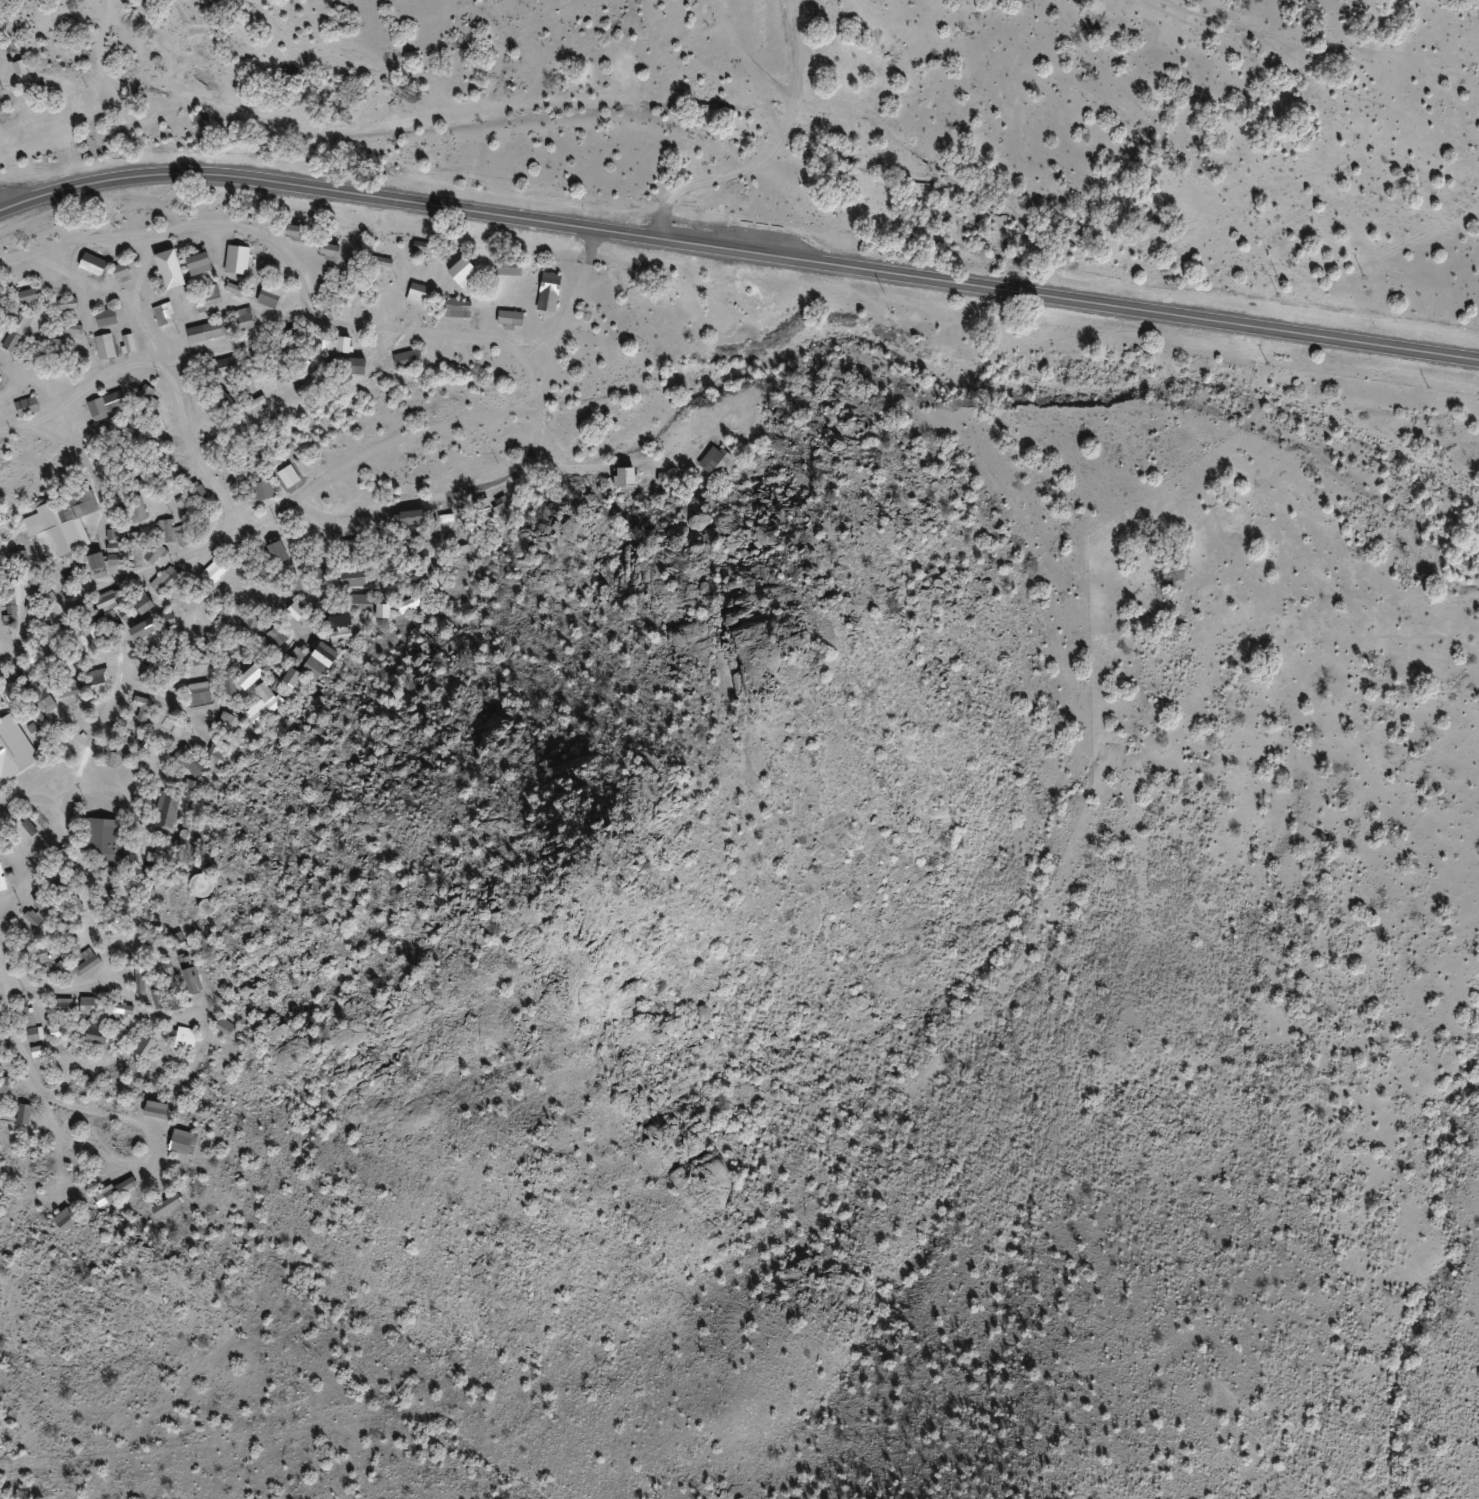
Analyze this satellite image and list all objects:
building: (20, 66)
road: (737, 122)
building: (297, 232)
road: (739, 247)
building: (422, 248)
building: (328, 250)
building: (237, 259)
building: (380, 262)
building: (198, 263)
building: (507, 266)
building: (169, 269)
building: (462, 271)
building: (121, 272)
building: (549, 283)
building: (235, 289)
building: (1, 290)
building: (28, 295)
building: (268, 296)
road: (251, 297)
building: (209, 303)
building: (67, 304)
building: (457, 308)
building: (164, 314)
building: (105, 317)
building: (509, 317)
building: (244, 318)
building: (72, 329)
building: (213, 329)
building: (16, 332)
building: (293, 335)
building: (128, 343)
building: (50, 344)
building: (342, 344)
building: (105, 346)
building: (406, 359)
building: (352, 365)
building: (226, 366)
building: (309, 384)
building: (146, 393)
building: (220, 399)
building: (107, 404)
building: (27, 406)
building: (255, 406)
road: (190, 416)
building: (713, 459)
road: (318, 467)
building: (620, 477)
building: (141, 483)
building: (263, 490)
building: (184, 504)
building: (138, 509)
building: (410, 518)
building: (63, 520)
building: (278, 552)
building: (154, 553)
building: (96, 561)
building: (266, 573)
building: (352, 577)
building: (164, 579)
building: (295, 584)
building: (106, 601)
building: (359, 601)
building: (296, 611)
building: (223, 614)
building: (10, 616)
building: (250, 620)
road: (8, 621)
building: (340, 628)
building: (142, 629)
building: (277, 634)
building: (314, 658)
building: (291, 677)
building: (246, 680)
building: (97, 681)
building: (229, 685)
building: (68, 688)
building: (199, 693)
building: (39, 697)
building: (262, 702)
building: (141, 703)
building: (230, 720)
road: (89, 729)
building: (13, 748)
building: (190, 763)
building: (167, 809)
building: (103, 841)
building: (200, 885)
building: (42, 905)
road: (18, 935)
building: (87, 962)
building: (191, 980)
building: (123, 1009)
building: (30, 1018)
building: (223, 1026)
building: (35, 1034)
building: (95, 1034)
building: (184, 1038)
building: (144, 1046)
building: (3, 1084)
road: (127, 1092)
building: (155, 1109)
building: (23, 1114)
building: (182, 1142)
building: (167, 1205)
building: (64, 1220)

